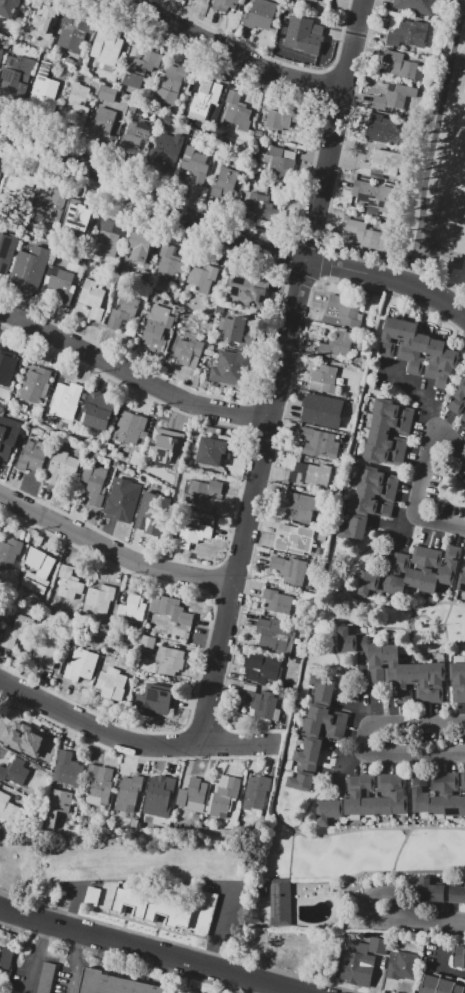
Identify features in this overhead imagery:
building: (307, 0)
building: (226, 4)
building: (418, 6)
building: (36, 7)
building: (9, 8)
building: (319, 10)
building: (261, 14)
building: (45, 25)
building: (73, 33)
building: (303, 33)
building: (408, 34)
building: (106, 46)
road: (230, 54)
building: (1, 55)
road: (271, 58)
building: (401, 64)
building: (139, 69)
building: (17, 74)
building: (378, 83)
building: (171, 84)
road: (322, 84)
building: (44, 91)
building: (107, 93)
building: (205, 96)
building: (394, 97)
building: (79, 102)
building: (239, 111)
building: (284, 118)
building: (102, 123)
building: (382, 129)
building: (136, 134)
road: (429, 136)
building: (166, 154)
building: (2, 160)
building: (279, 163)
road: (337, 163)
building: (382, 163)
building: (195, 165)
park: (439, 168)
building: (20, 183)
building: (224, 183)
park: (452, 187)
building: (372, 196)
building: (257, 204)
building: (50, 206)
road: (304, 206)
building: (75, 222)
road: (227, 233)
road: (286, 234)
building: (109, 236)
building: (370, 236)
building: (141, 246)
building: (7, 248)
building: (169, 261)
building: (30, 267)
building: (201, 279)
road: (435, 281)
building: (60, 287)
building: (248, 291)
building: (92, 299)
building: (123, 311)
building: (345, 311)
road: (277, 319)
building: (157, 327)
building: (235, 328)
building: (390, 336)
building: (406, 340)
building: (338, 345)
building: (188, 350)
building: (418, 354)
building: (434, 357)
building: (232, 368)
building: (447, 368)
building: (5, 369)
road: (281, 373)
road: (132, 374)
building: (326, 378)
building: (35, 384)
road: (415, 392)
building: (458, 399)
building: (67, 401)
building: (99, 409)
building: (323, 410)
building: (393, 410)
road: (252, 414)
building: (463, 416)
building: (391, 424)
building: (129, 427)
building: (8, 436)
building: (387, 440)
building: (317, 442)
building: (167, 448)
building: (213, 451)
road: (272, 453)
building: (382, 455)
building: (32, 456)
building: (61, 468)
building: (310, 474)
road: (421, 475)
building: (378, 476)
road: (242, 481)
building: (94, 482)
building: (376, 491)
building: (203, 492)
building: (121, 502)
building: (301, 506)
building: (371, 506)
building: (157, 511)
building: (355, 528)
road: (394, 529)
building: (192, 536)
building: (322, 537)
building: (297, 541)
road: (112, 549)
building: (9, 552)
building: (450, 565)
building: (416, 566)
building: (290, 569)
building: (431, 571)
building: (398, 574)
building: (37, 575)
road: (214, 580)
building: (69, 581)
building: (461, 581)
building: (372, 583)
road: (454, 593)
building: (99, 598)
building: (277, 601)
road: (401, 607)
building: (133, 608)
building: (171, 609)
road: (335, 612)
road: (414, 613)
building: (1, 614)
road: (430, 624)
road: (402, 629)
road: (409, 629)
building: (16, 630)
road: (446, 633)
building: (273, 634)
road: (413, 636)
building: (351, 640)
building: (148, 643)
building: (47, 647)
road: (204, 647)
building: (170, 660)
building: (376, 662)
building: (391, 662)
building: (82, 666)
road: (325, 666)
building: (262, 667)
building: (458, 680)
building: (436, 681)
building: (405, 682)
building: (112, 683)
building: (421, 683)
road: (448, 683)
building: (323, 689)
road: (362, 690)
building: (156, 699)
building: (260, 702)
building: (327, 714)
road: (204, 727)
road: (97, 729)
building: (323, 729)
building: (23, 737)
road: (366, 738)
road: (239, 745)
building: (309, 751)
road: (131, 755)
road: (283, 759)
building: (68, 769)
road: (346, 769)
building: (14, 771)
building: (303, 778)
building: (463, 782)
building: (99, 784)
building: (129, 792)
building: (256, 792)
building: (420, 793)
building: (437, 793)
building: (399, 794)
building: (451, 795)
building: (160, 796)
building: (193, 796)
building: (224, 796)
building: (384, 796)
building: (367, 797)
building: (353, 798)
building: (462, 805)
building: (57, 806)
building: (9, 809)
building: (329, 811)
road: (411, 814)
road: (302, 821)
road: (395, 871)
building: (432, 891)
building: (456, 893)
building: (92, 895)
parking lot: (92, 895)
road: (371, 895)
building: (280, 902)
road: (74, 906)
building: (169, 909)
road: (432, 921)
road: (217, 927)
road: (178, 943)
road: (151, 951)
building: (459, 956)
building: (7, 957)
road: (37, 957)
road: (123, 958)
road: (75, 961)
building: (362, 961)
road: (443, 962)
building: (402, 965)
road: (454, 974)
parking lot: (41, 975)
building: (47, 978)
parking lot: (47, 978)
building: (114, 984)
building: (437, 985)
road: (441, 985)
building: (459, 989)
building: (464, 991)

